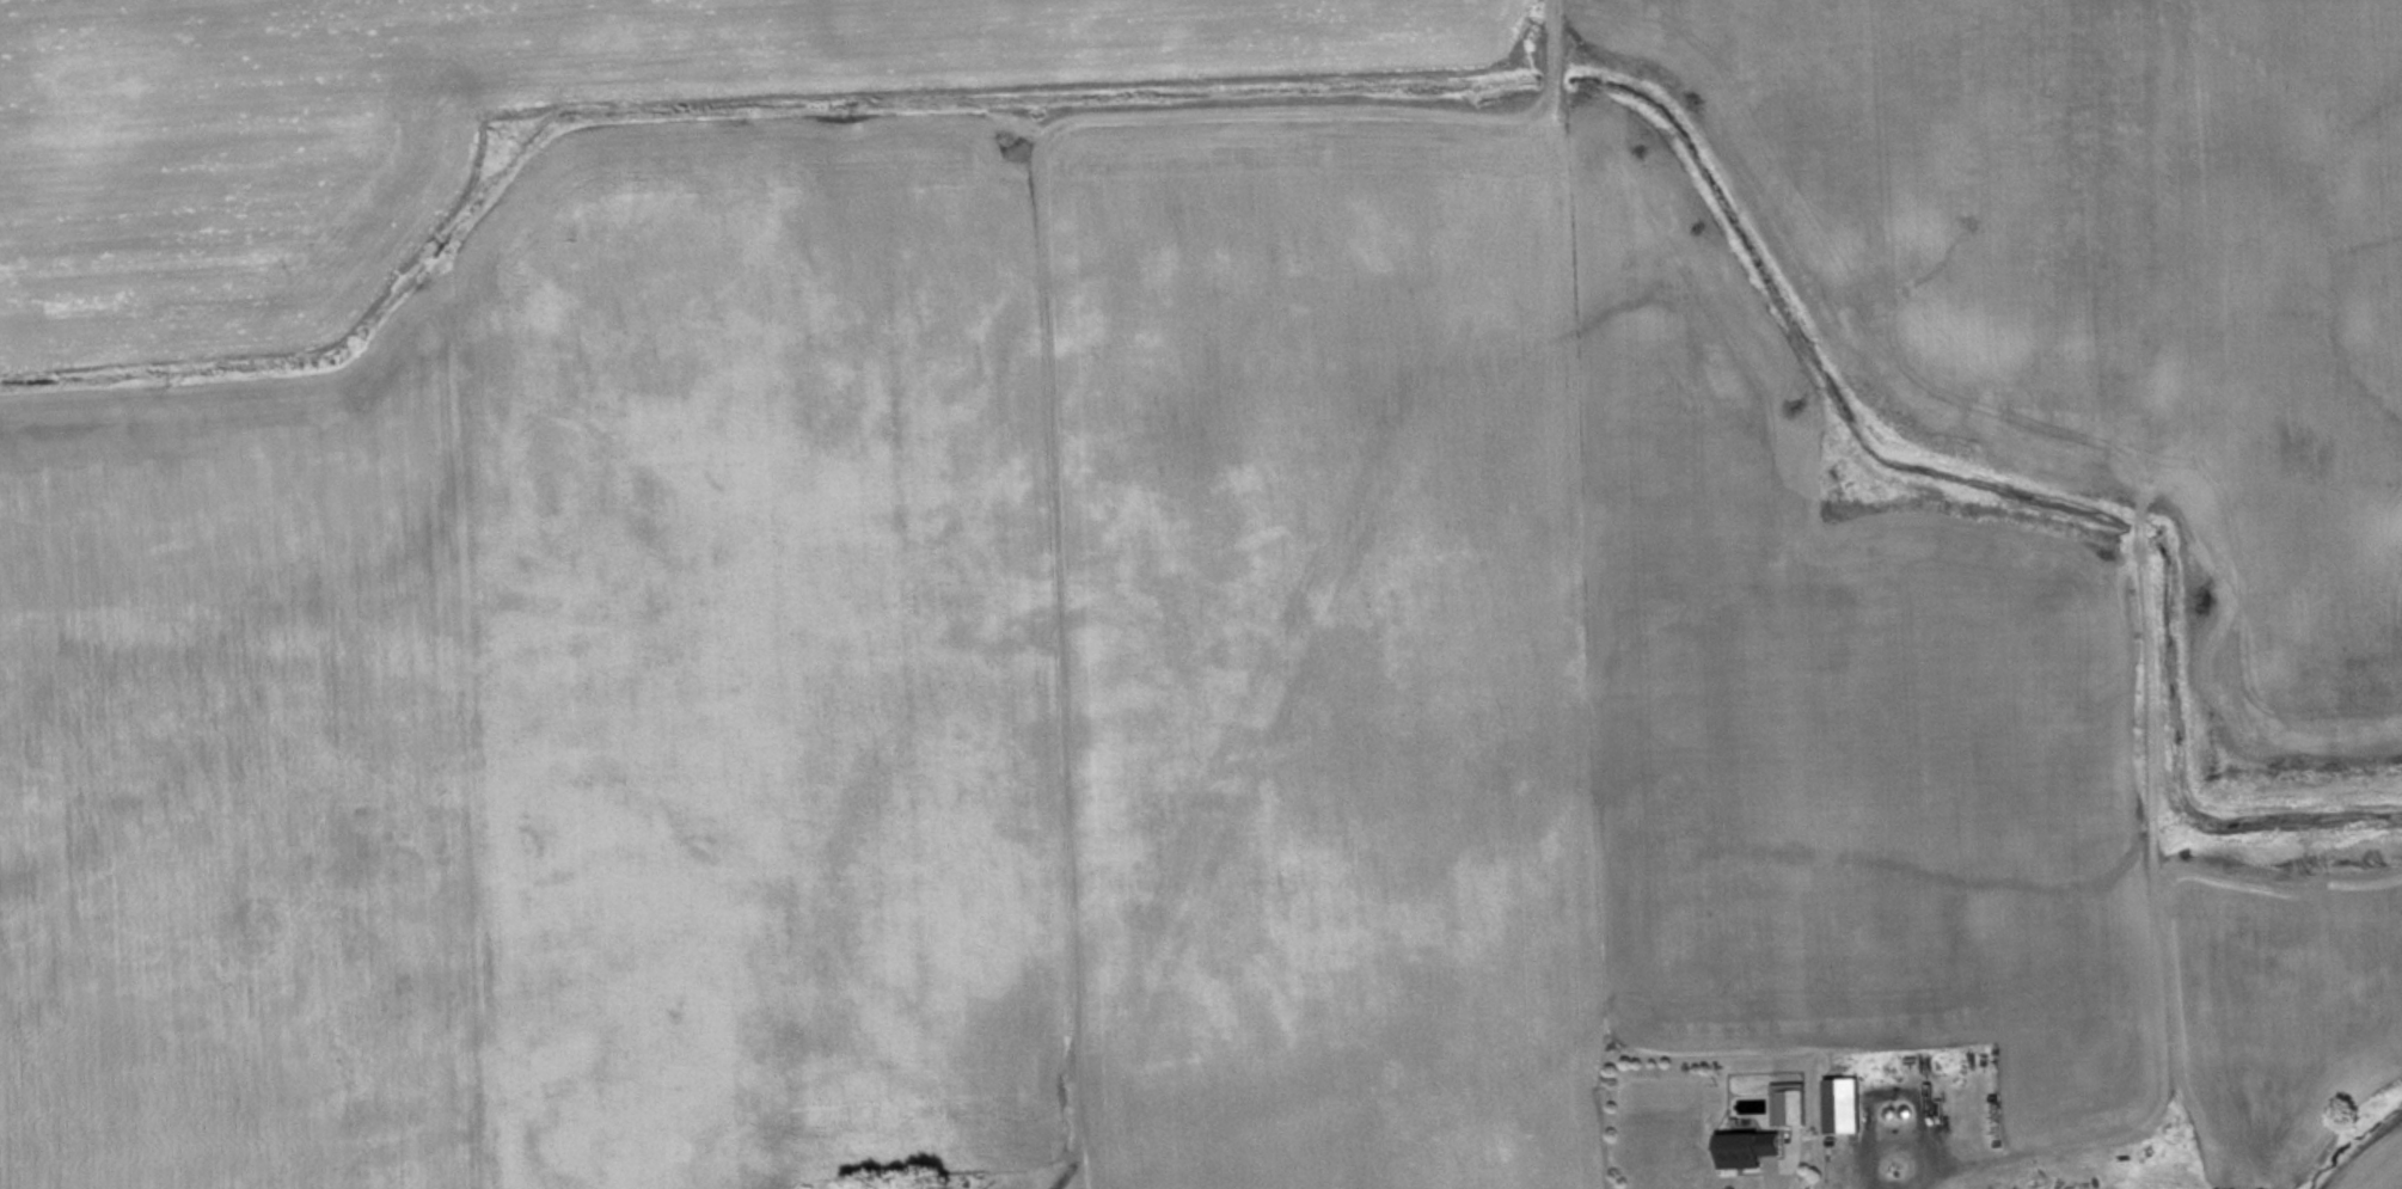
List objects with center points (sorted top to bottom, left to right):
building: (1844, 1108)
building: (1748, 1153)

